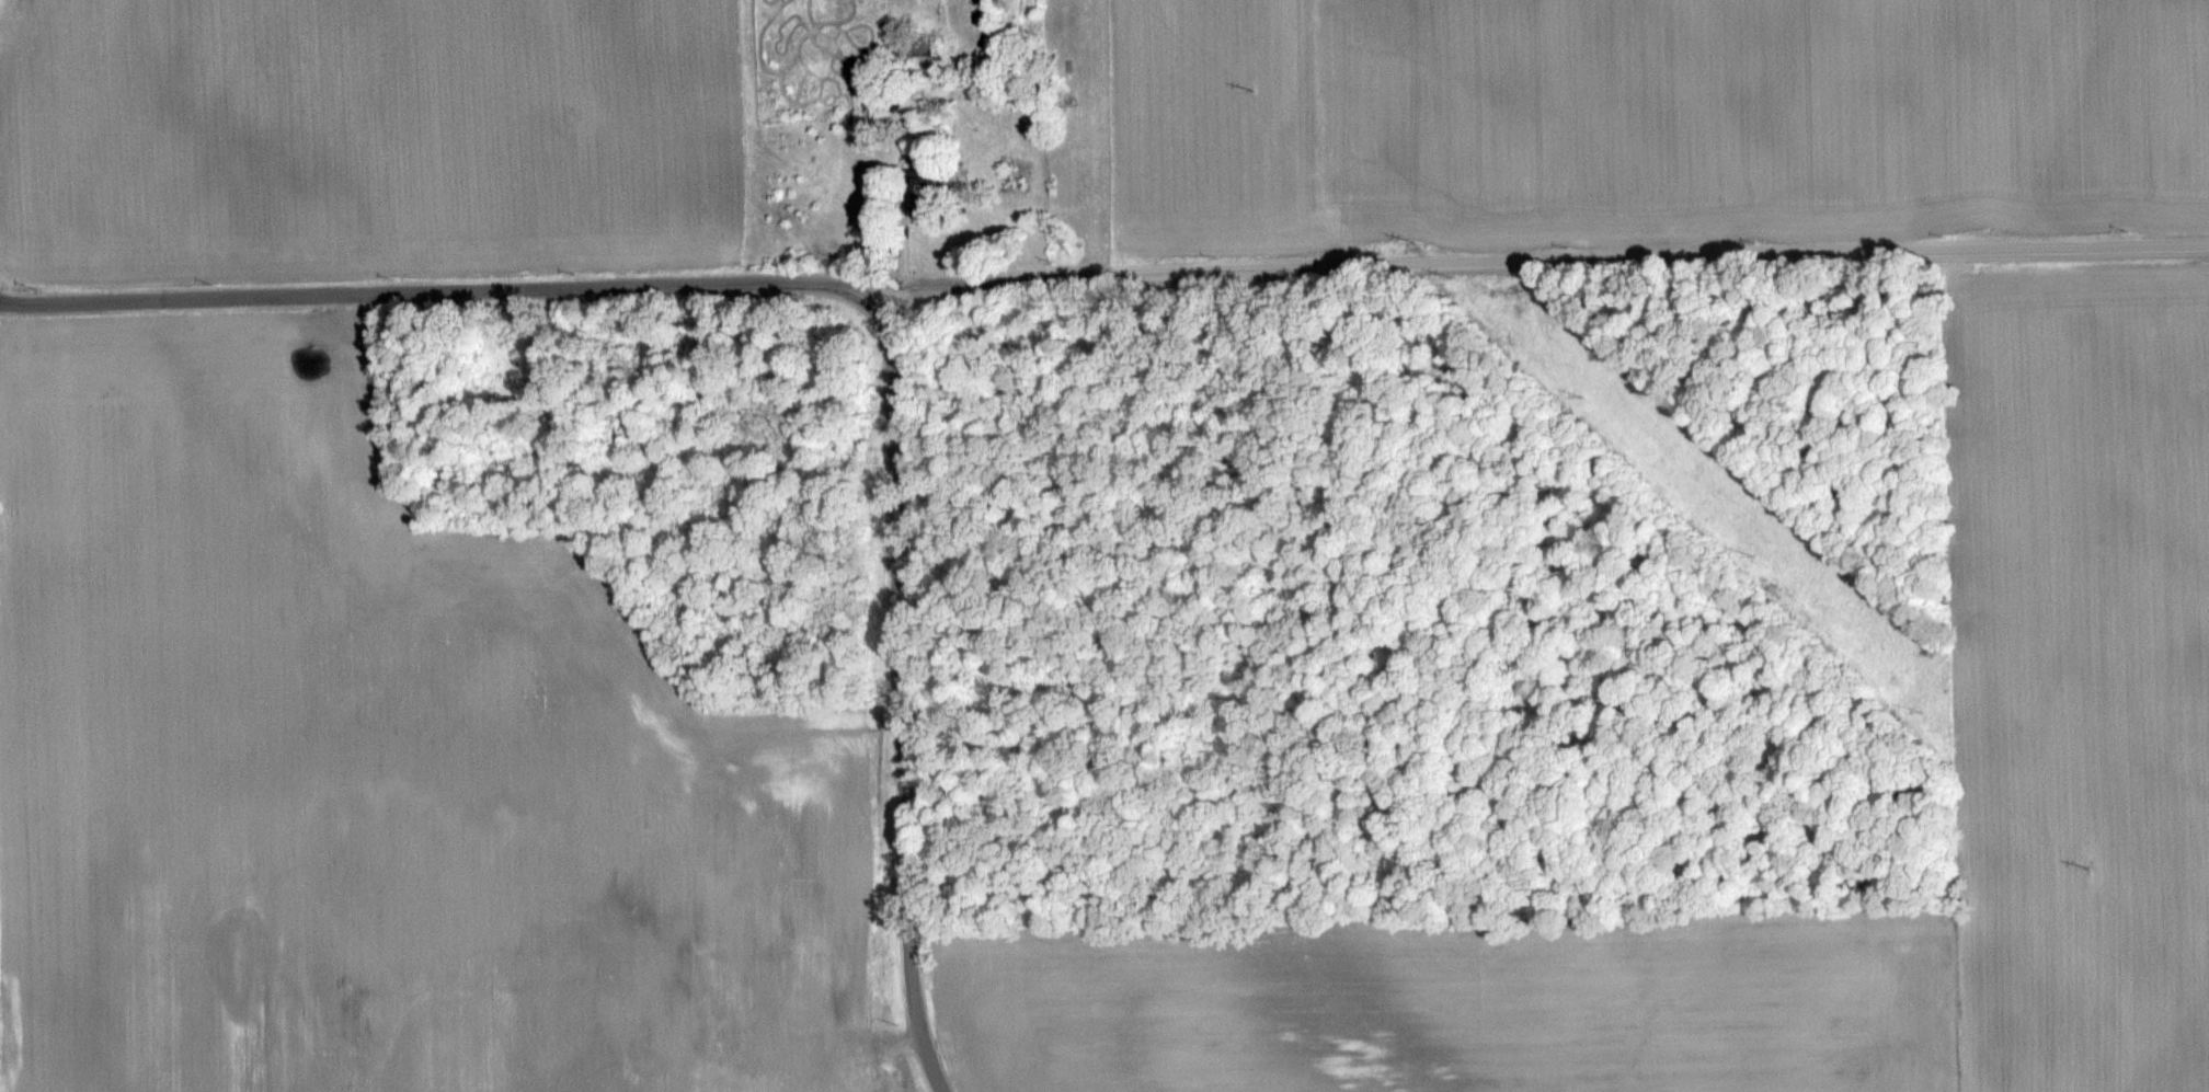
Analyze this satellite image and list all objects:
building: (931, 191)
road: (1104, 276)
building: (353, 462)
road: (900, 685)
building: (735, 864)
building: (648, 967)
building: (805, 1004)
building: (742, 1015)
building: (882, 1082)

